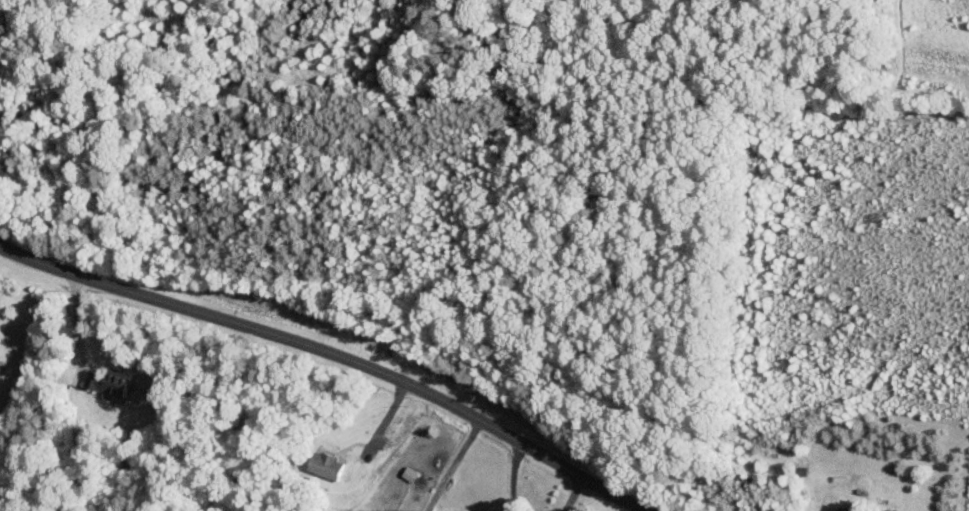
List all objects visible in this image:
building: (4, 160)
road: (74, 314)
road: (337, 357)
building: (109, 380)
building: (326, 464)
road: (451, 465)
building: (410, 473)
road: (572, 491)
building: (845, 509)
building: (888, 510)

